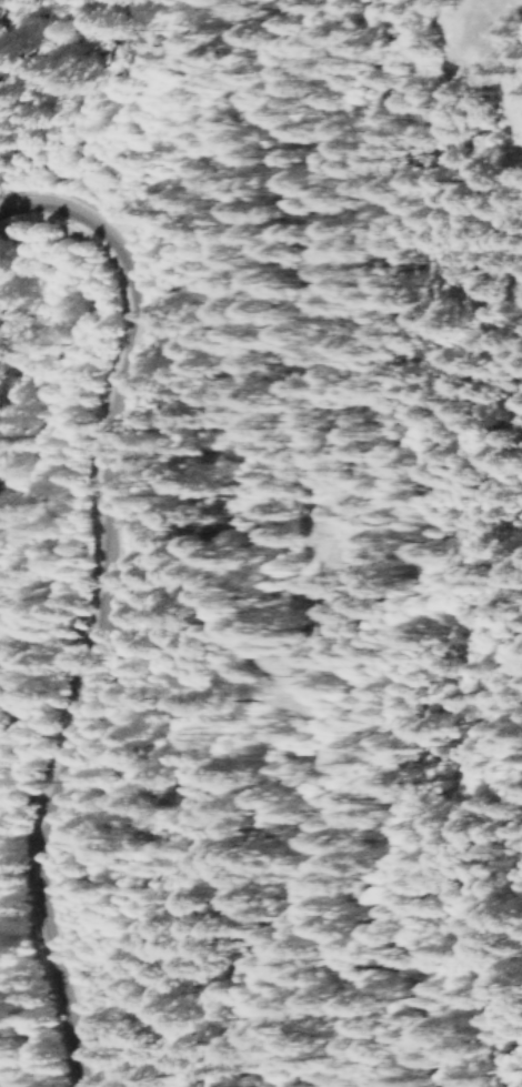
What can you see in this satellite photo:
road: (23, 102)
road: (389, 510)
road: (106, 594)

